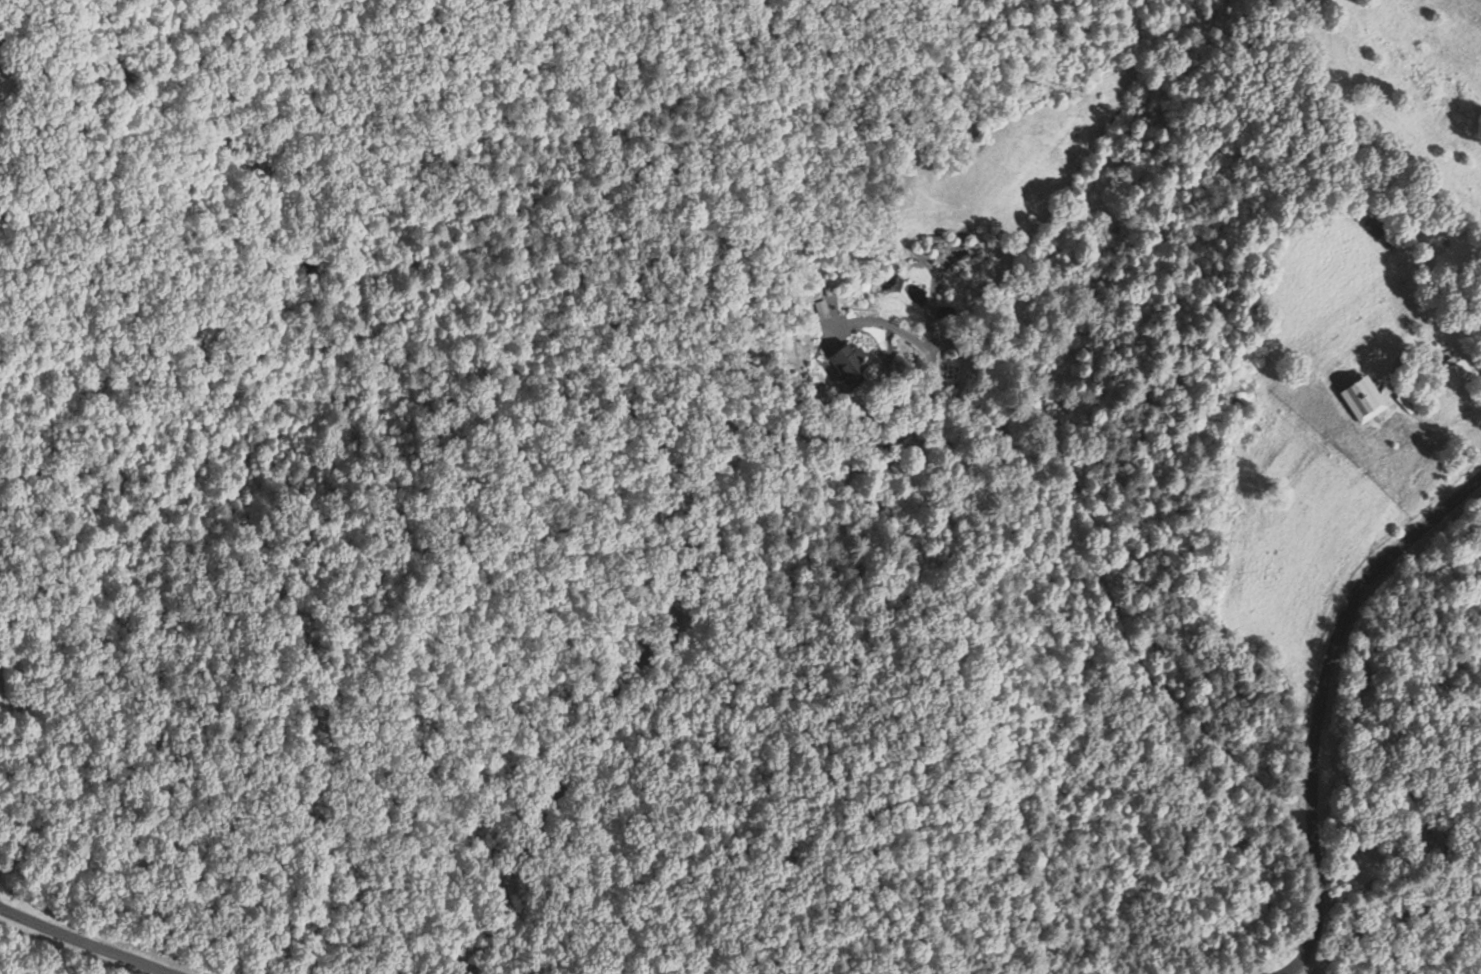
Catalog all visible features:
building: (973, 249)
building: (847, 364)
building: (1454, 369)
building: (1361, 399)
road: (1315, 703)
road: (102, 938)
road: (1308, 968)

